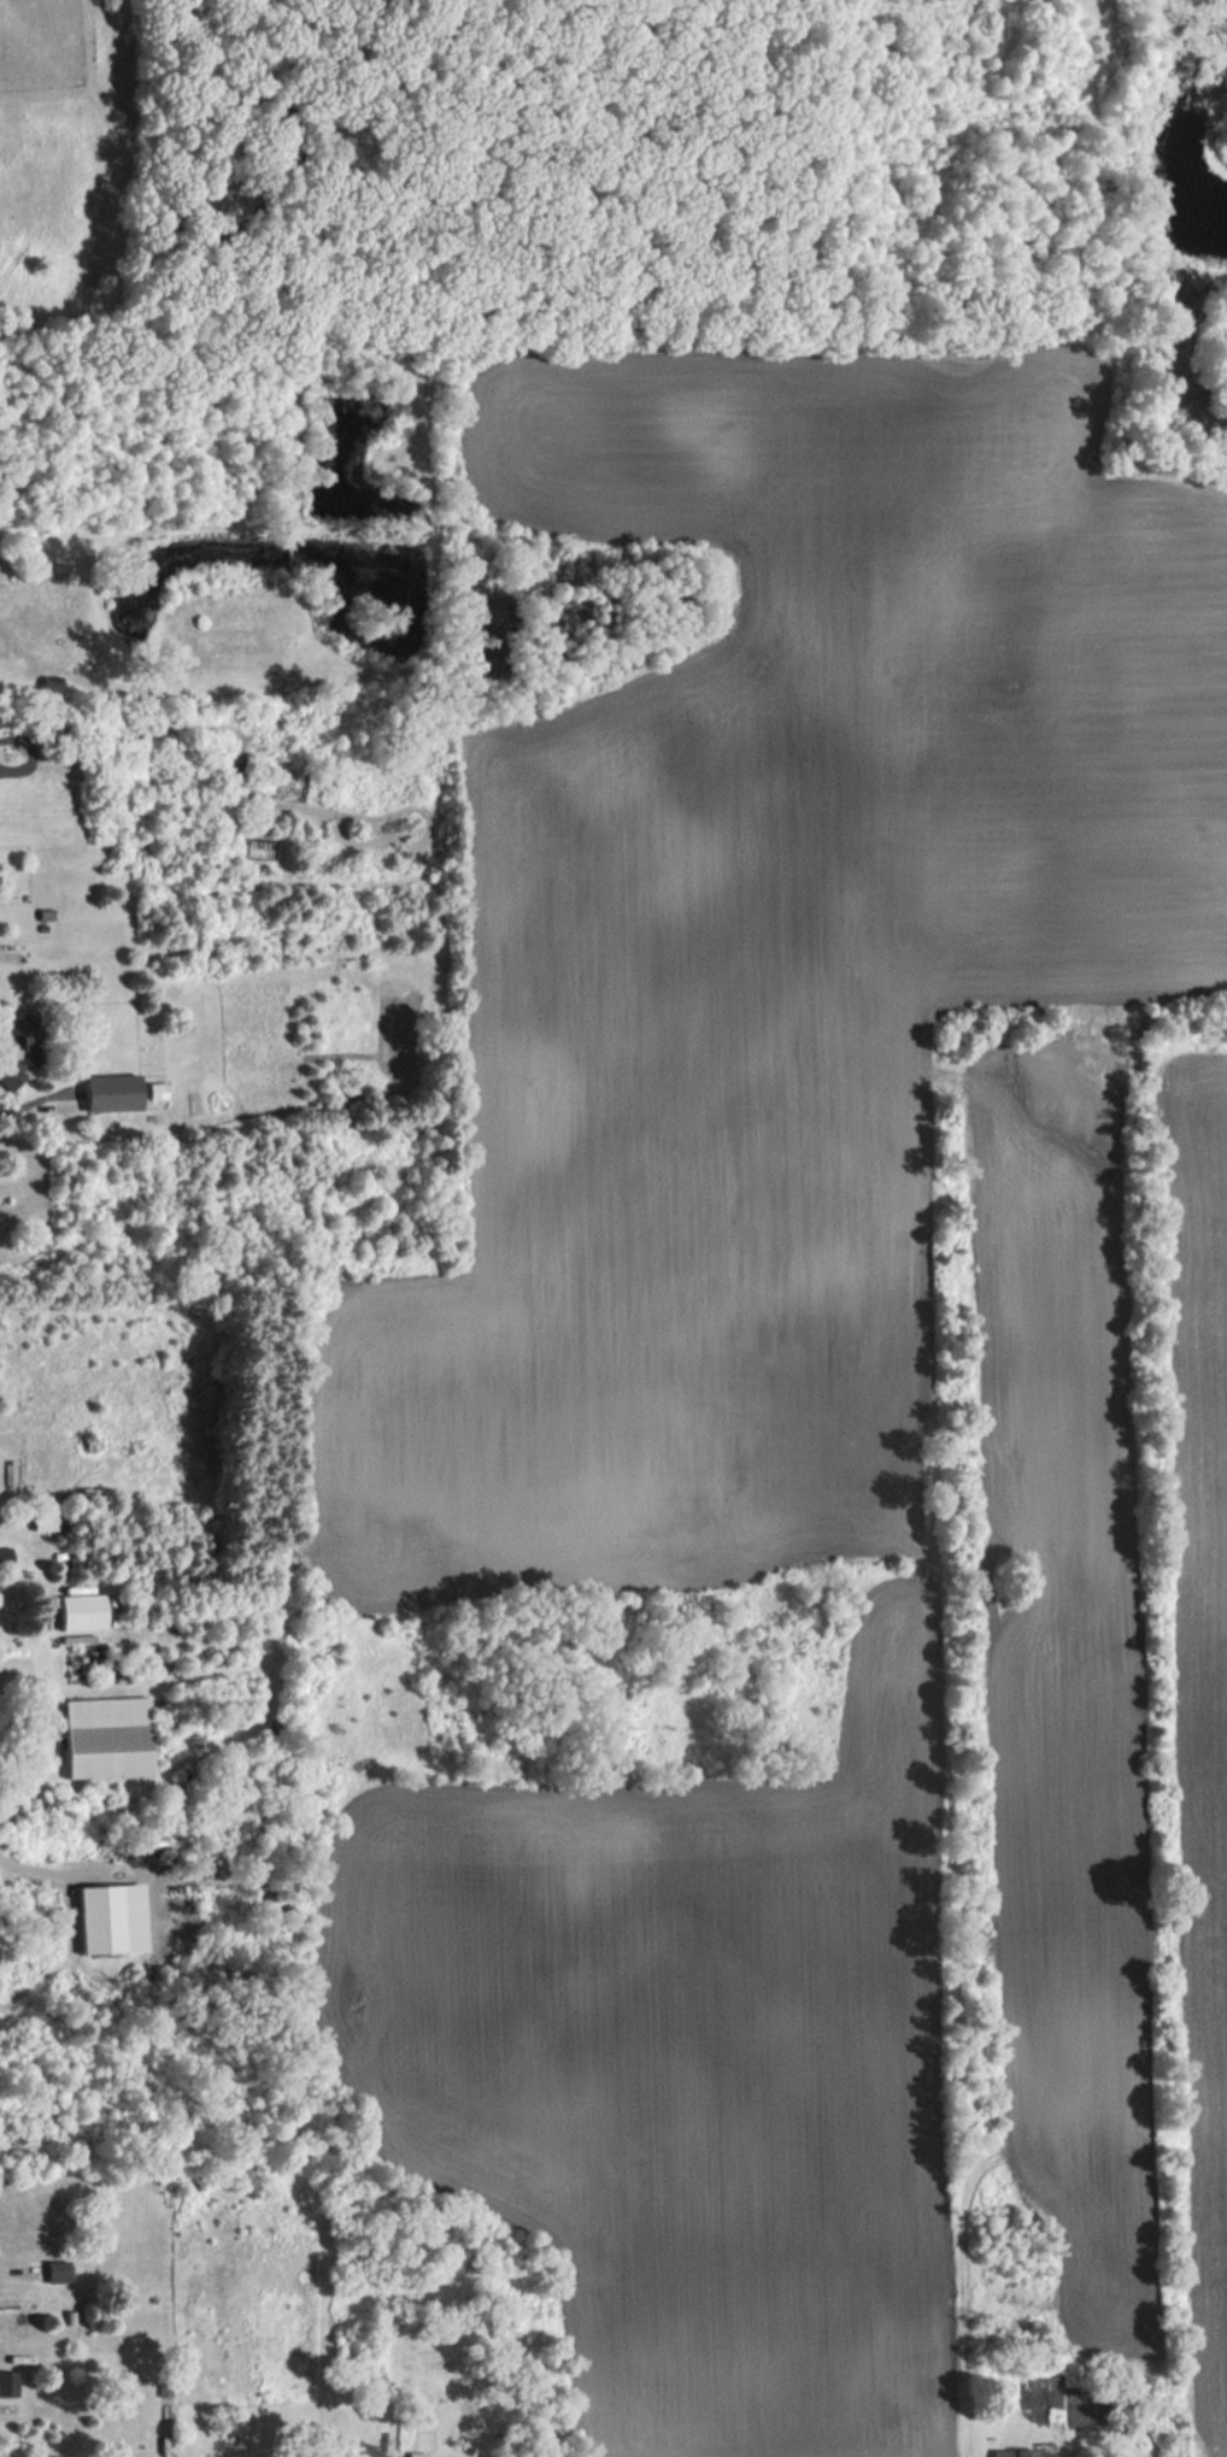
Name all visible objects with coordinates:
building: (53, 686)
building: (23, 1045)
building: (116, 1093)
building: (46, 1521)
building: (84, 1610)
building: (111, 1738)
building: (254, 1751)
road: (33, 1868)
building: (116, 1918)
building: (60, 2271)
building: (10, 2383)

